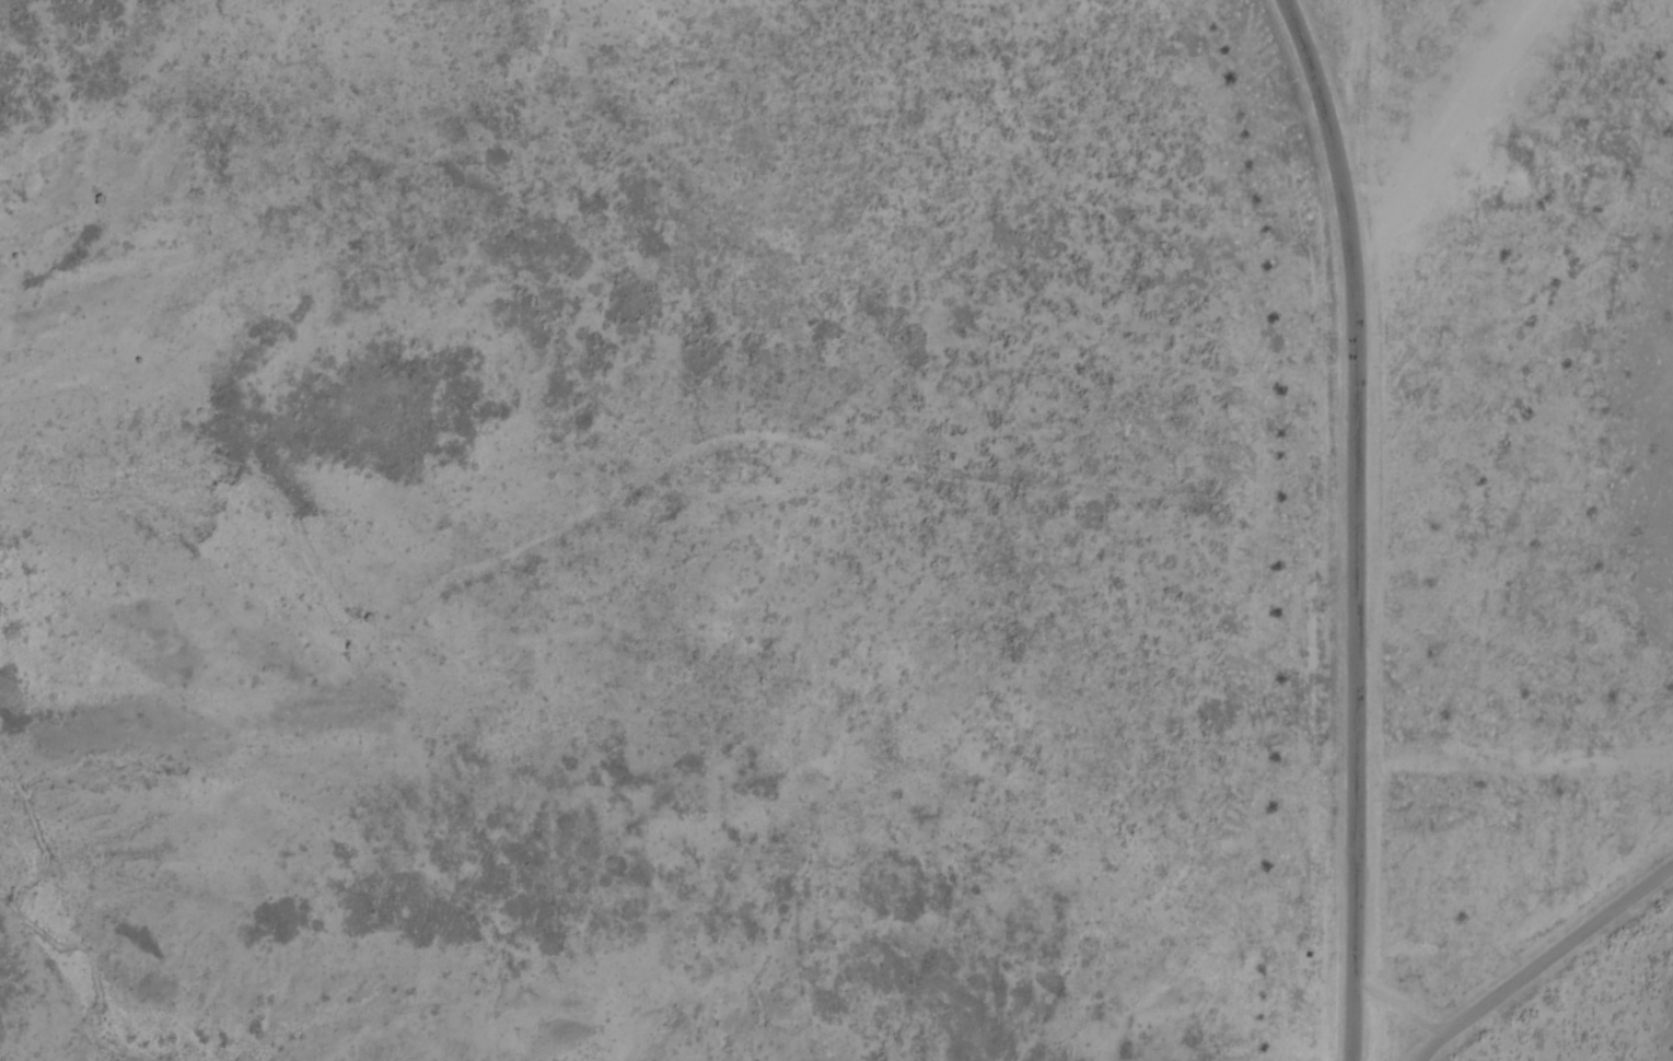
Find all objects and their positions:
road: (1335, 152)
road: (1355, 530)
road: (1544, 961)

